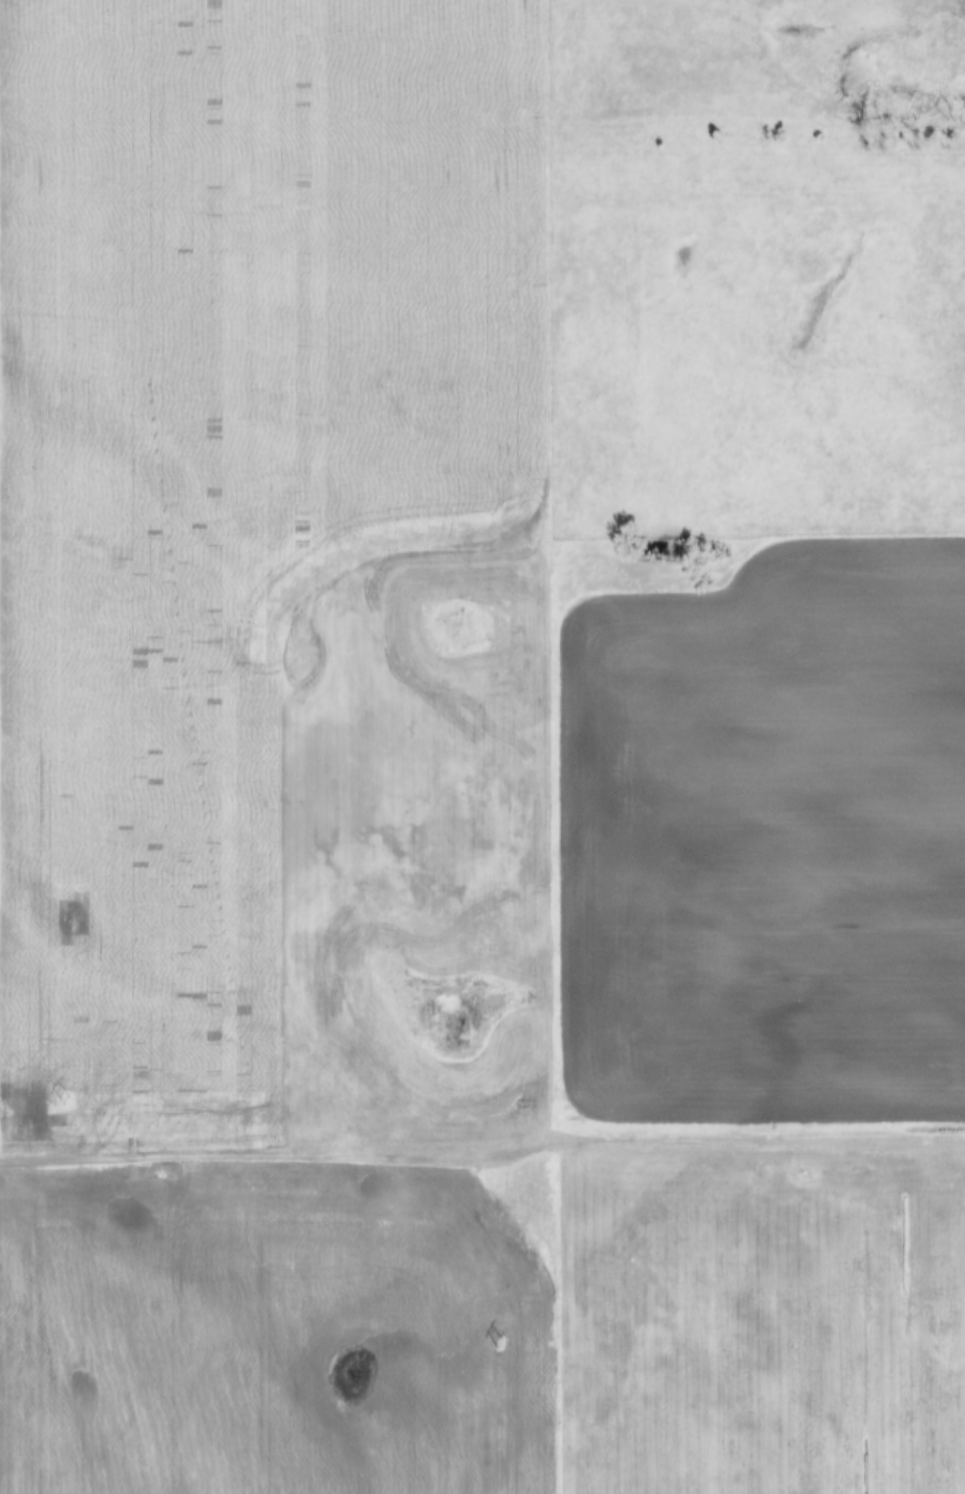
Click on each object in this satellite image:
power tower: (65, 1096)
road: (482, 1152)
power tower: (496, 1340)

